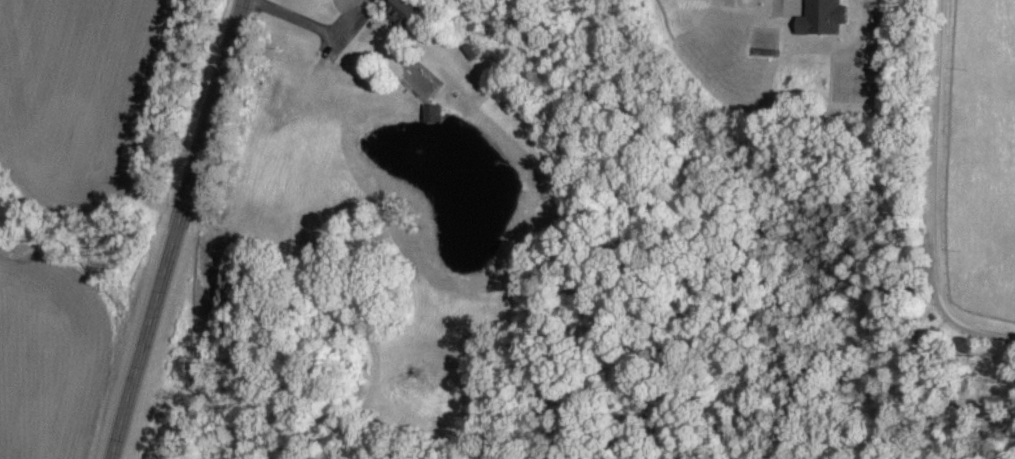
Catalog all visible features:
building: (821, 18)
road: (307, 22)
building: (431, 113)
road: (172, 229)

